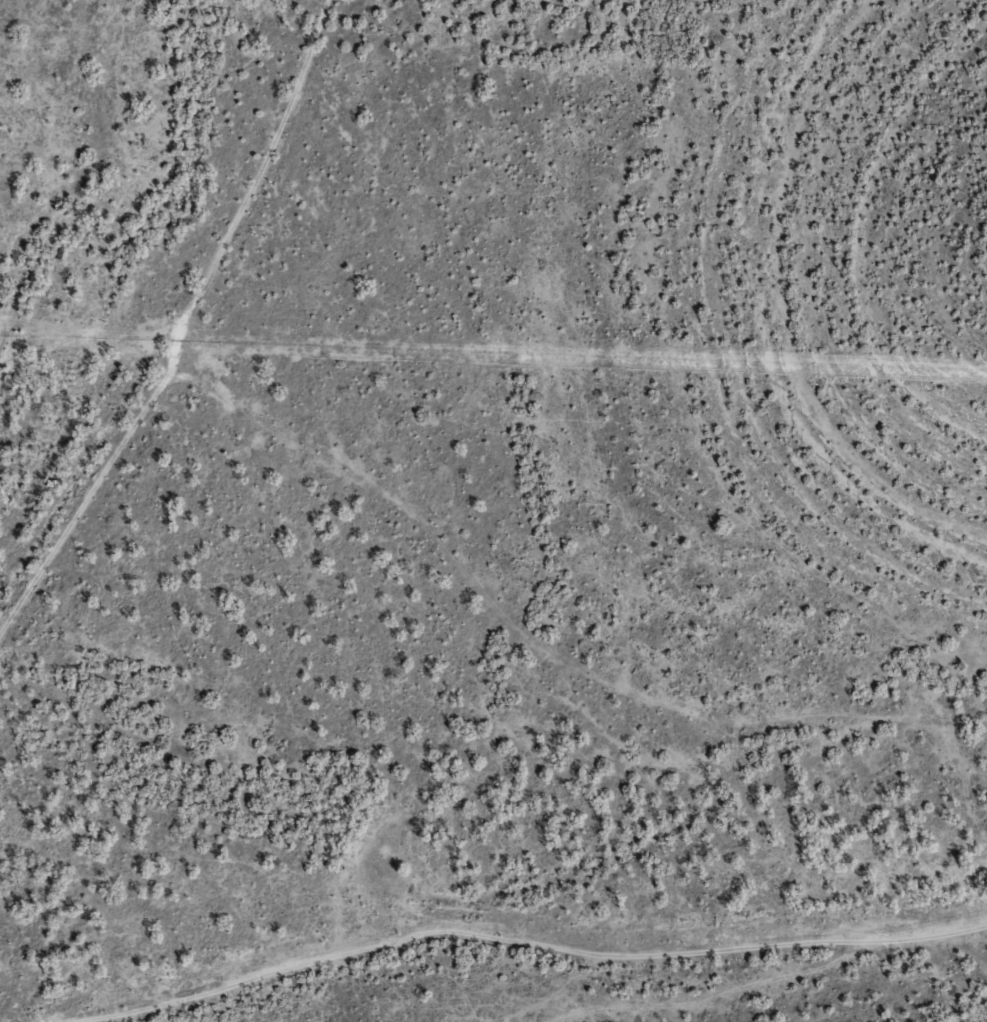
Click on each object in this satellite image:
road: (188, 331)
road: (522, 952)

